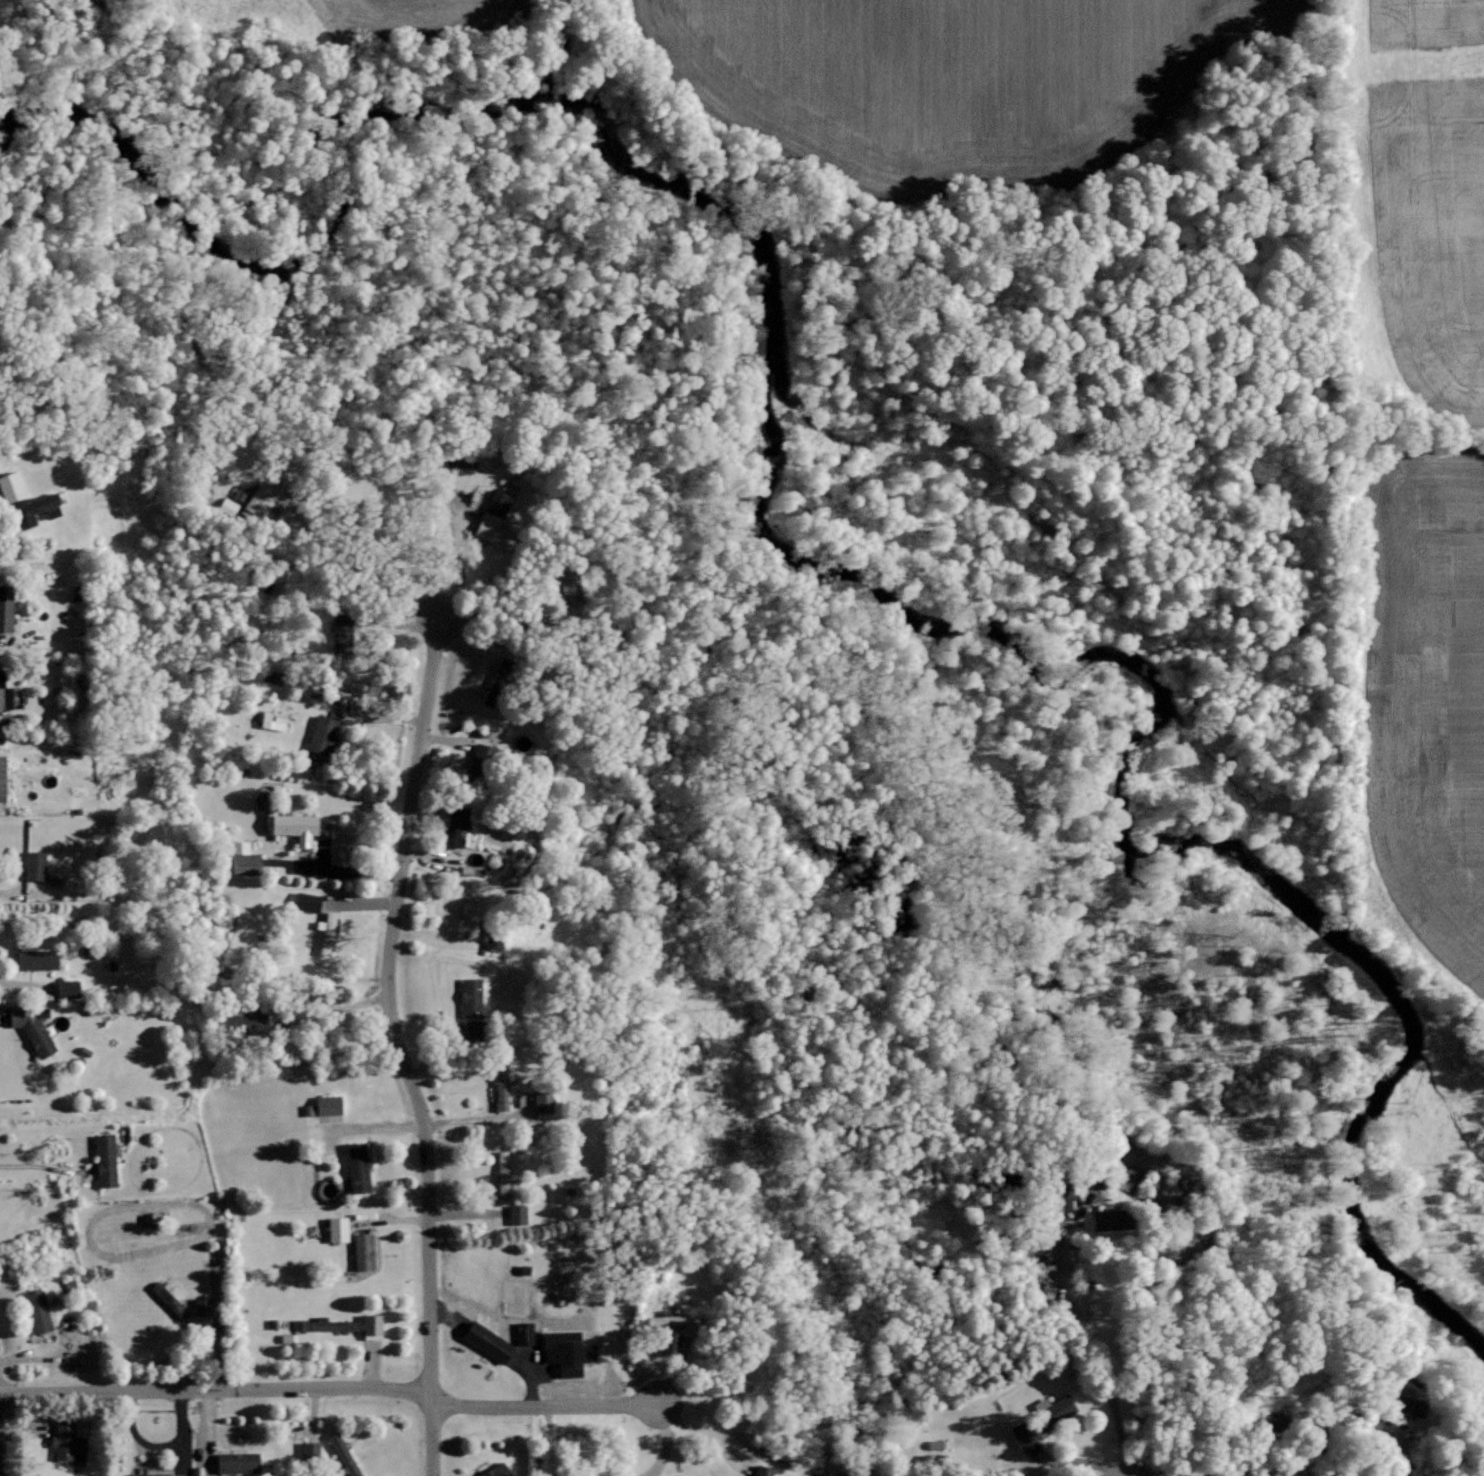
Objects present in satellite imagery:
building: (9, 487)
building: (258, 492)
building: (225, 506)
building: (30, 510)
building: (493, 522)
building: (568, 588)
building: (5, 608)
building: (339, 633)
building: (4, 691)
building: (271, 722)
building: (320, 735)
building: (1, 778)
building: (454, 825)
building: (293, 827)
building: (241, 860)
building: (32, 866)
building: (304, 902)
building: (325, 932)
building: (491, 943)
building: (34, 959)
building: (65, 990)
building: (469, 997)
building: (36, 1037)
road: (398, 1046)
building: (501, 1083)
building: (540, 1101)
building: (326, 1104)
building: (103, 1160)
building: (355, 1166)
building: (500, 1173)
building: (1054, 1196)
building: (515, 1213)
building: (1110, 1219)
building: (335, 1228)
building: (361, 1251)
building: (201, 1306)
building: (35, 1311)
building: (670, 1319)
building: (370, 1323)
building: (330, 1324)
building: (522, 1332)
road: (1087, 1336)
building: (485, 1341)
building: (667, 1342)
building: (565, 1352)
road: (216, 1388)
road: (543, 1404)
building: (1405, 1405)
building: (1038, 1422)
building: (65, 1441)
building: (308, 1448)
building: (341, 1456)
building: (235, 1462)
building: (494, 1470)
building: (760, 1471)
building: (148, 1475)
building: (672, 1475)
building: (826, 1475)

